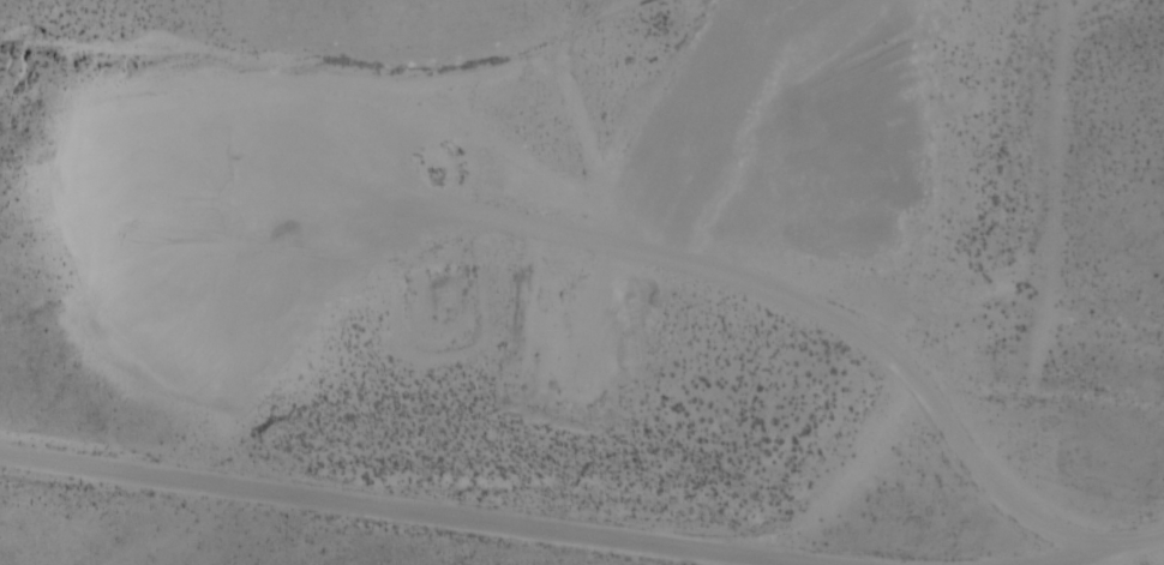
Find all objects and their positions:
quarry: (545, 248)
road: (438, 509)
road: (1086, 539)

